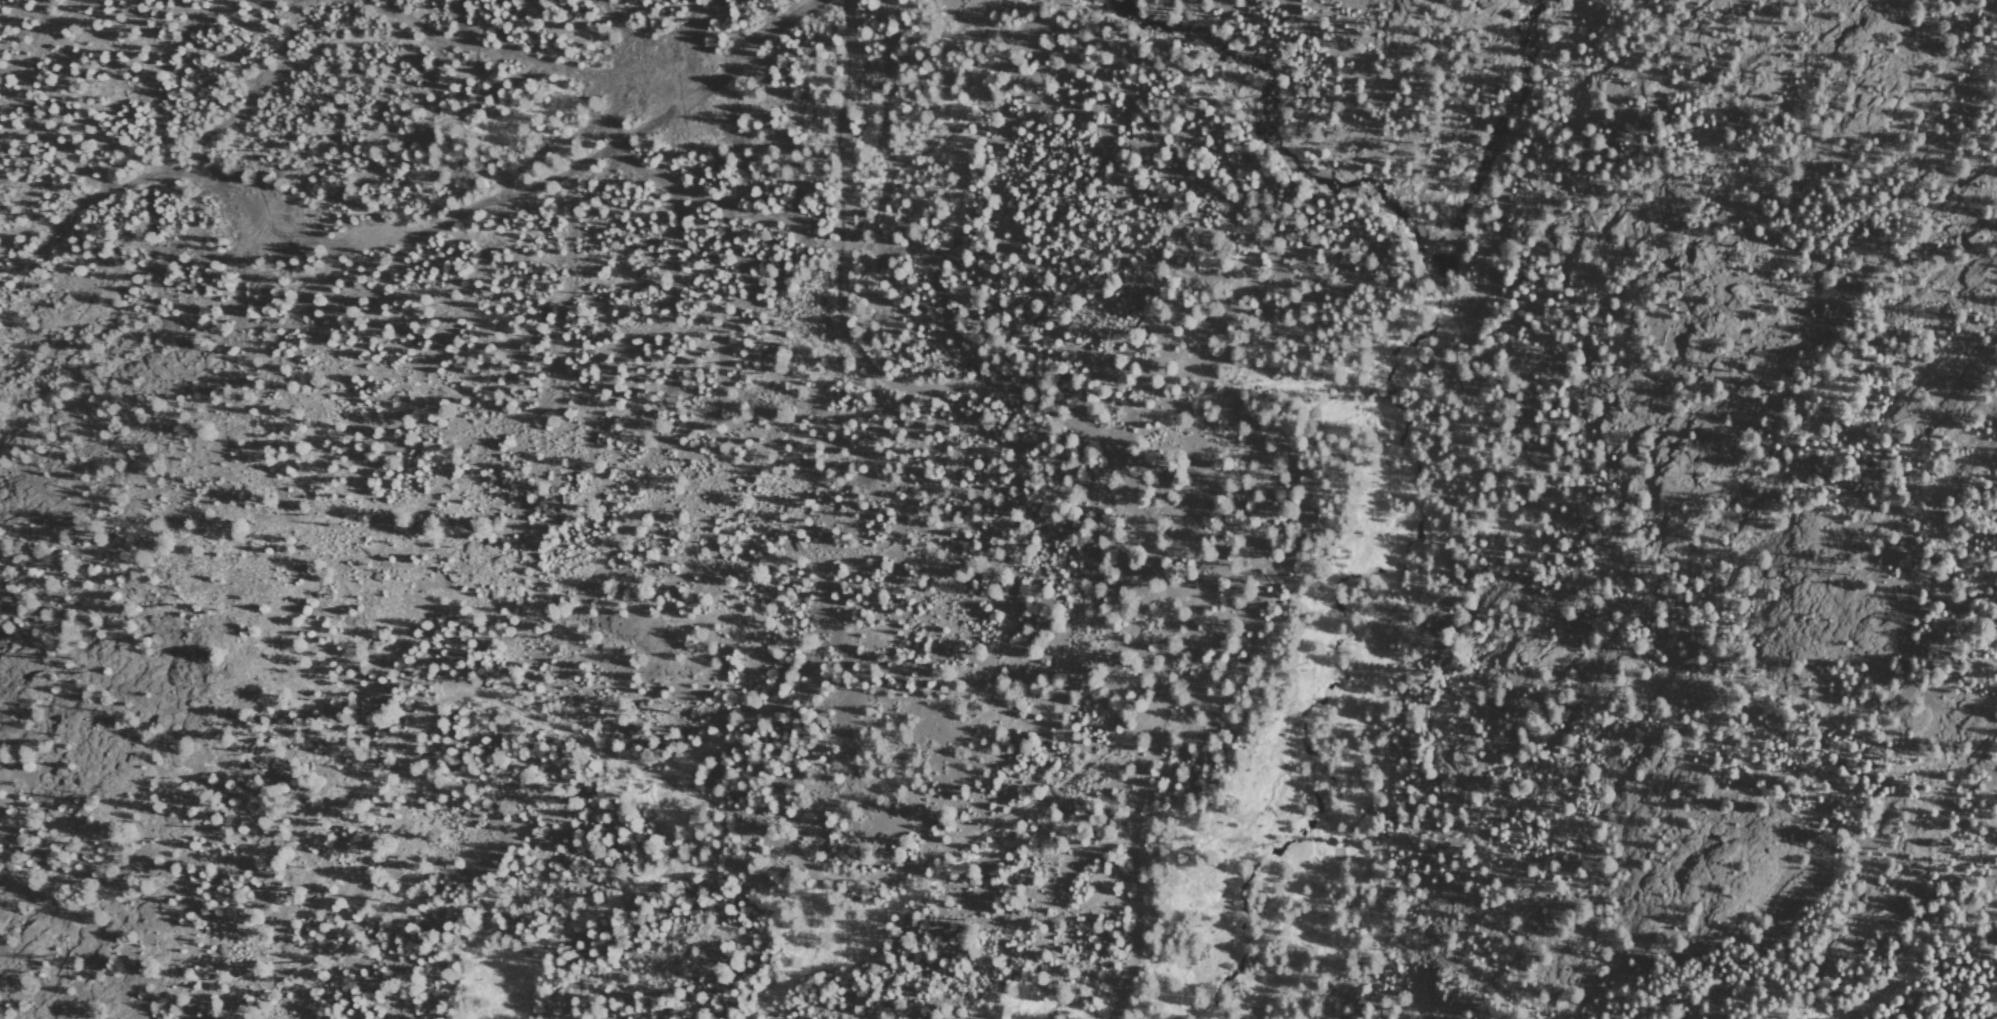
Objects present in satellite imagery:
road: (1092, 425)

